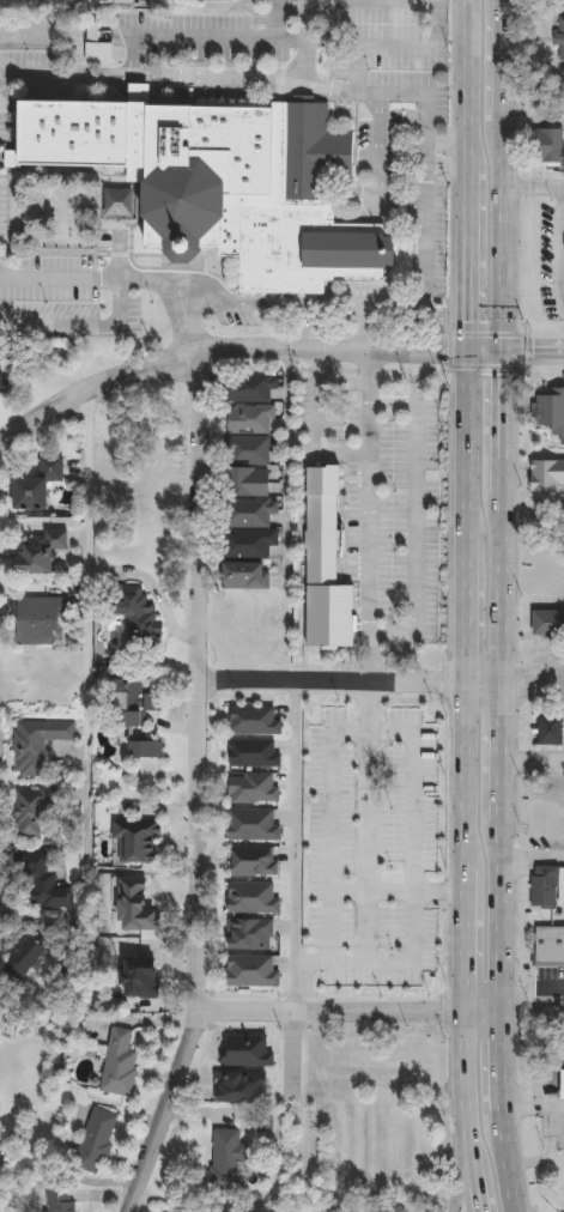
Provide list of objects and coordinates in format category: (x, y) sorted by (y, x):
road: (139, 0)
road: (368, 0)
road: (301, 24)
building: (559, 35)
road: (140, 44)
road: (365, 46)
road: (432, 54)
road: (422, 123)
road: (468, 141)
road: (443, 145)
building: (551, 145)
road: (443, 163)
road: (378, 172)
road: (504, 175)
road: (534, 182)
building: (222, 184)
park: (56, 213)
road: (103, 285)
road: (261, 311)
road: (353, 313)
road: (180, 326)
road: (352, 329)
road: (242, 347)
traffic signals: (468, 351)
traffic signals: (503, 351)
road: (533, 351)
building: (0, 381)
building: (250, 387)
building: (550, 411)
road: (313, 426)
building: (250, 434)
building: (544, 473)
building: (36, 483)
road: (534, 497)
road: (368, 514)
building: (249, 515)
road: (413, 515)
building: (38, 550)
building: (321, 563)
building: (247, 576)
building: (133, 619)
building: (38, 622)
building: (548, 624)
road: (89, 626)
road: (354, 679)
road: (534, 683)
building: (132, 702)
road: (366, 704)
building: (256, 721)
building: (546, 727)
building: (36, 743)
road: (466, 747)
road: (563, 750)
road: (333, 755)
building: (140, 760)
building: (417, 762)
road: (502, 781)
road: (202, 788)
building: (254, 789)
building: (32, 811)
building: (255, 825)
building: (135, 840)
road: (293, 842)
road: (533, 856)
building: (255, 862)
building: (43, 886)
building: (548, 887)
building: (547, 944)
building: (26, 955)
road: (374, 959)
building: (253, 971)
road: (308, 975)
road: (551, 984)
road: (538, 995)
road: (348, 1006)
road: (530, 1006)
road: (283, 1049)
building: (119, 1063)
building: (563, 1085)
building: (266, 1119)
building: (96, 1140)
road: (459, 1156)
building: (228, 1162)
building: (60, 1199)

